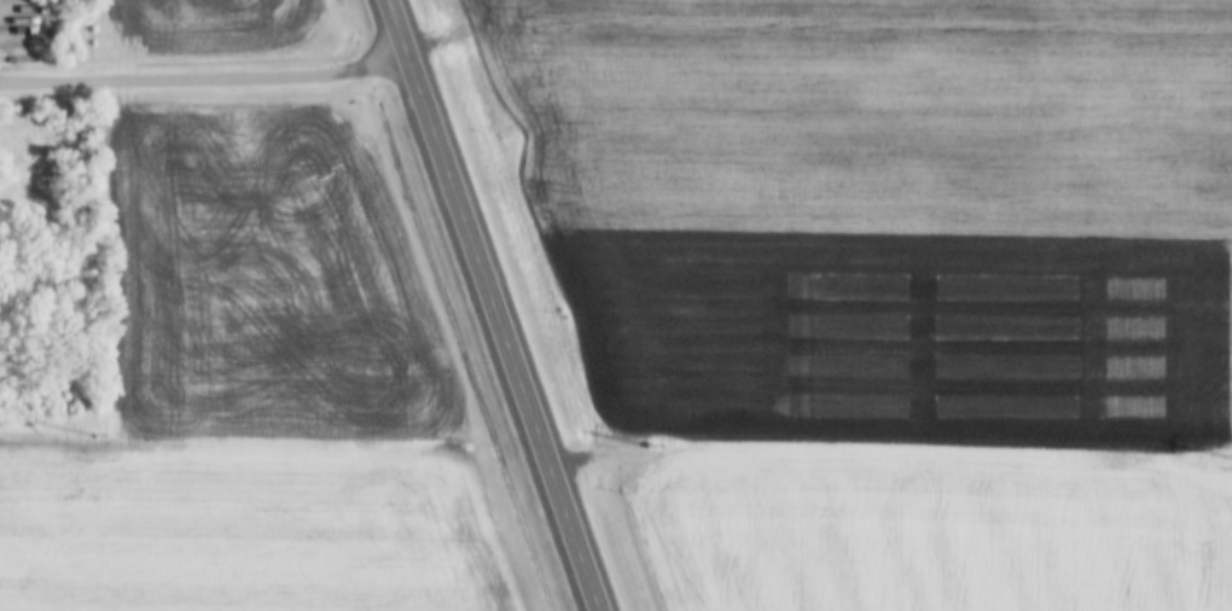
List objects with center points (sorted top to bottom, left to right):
road: (203, 78)
road: (490, 305)
power tower: (98, 431)
power tower: (649, 455)
power tower: (1224, 462)

